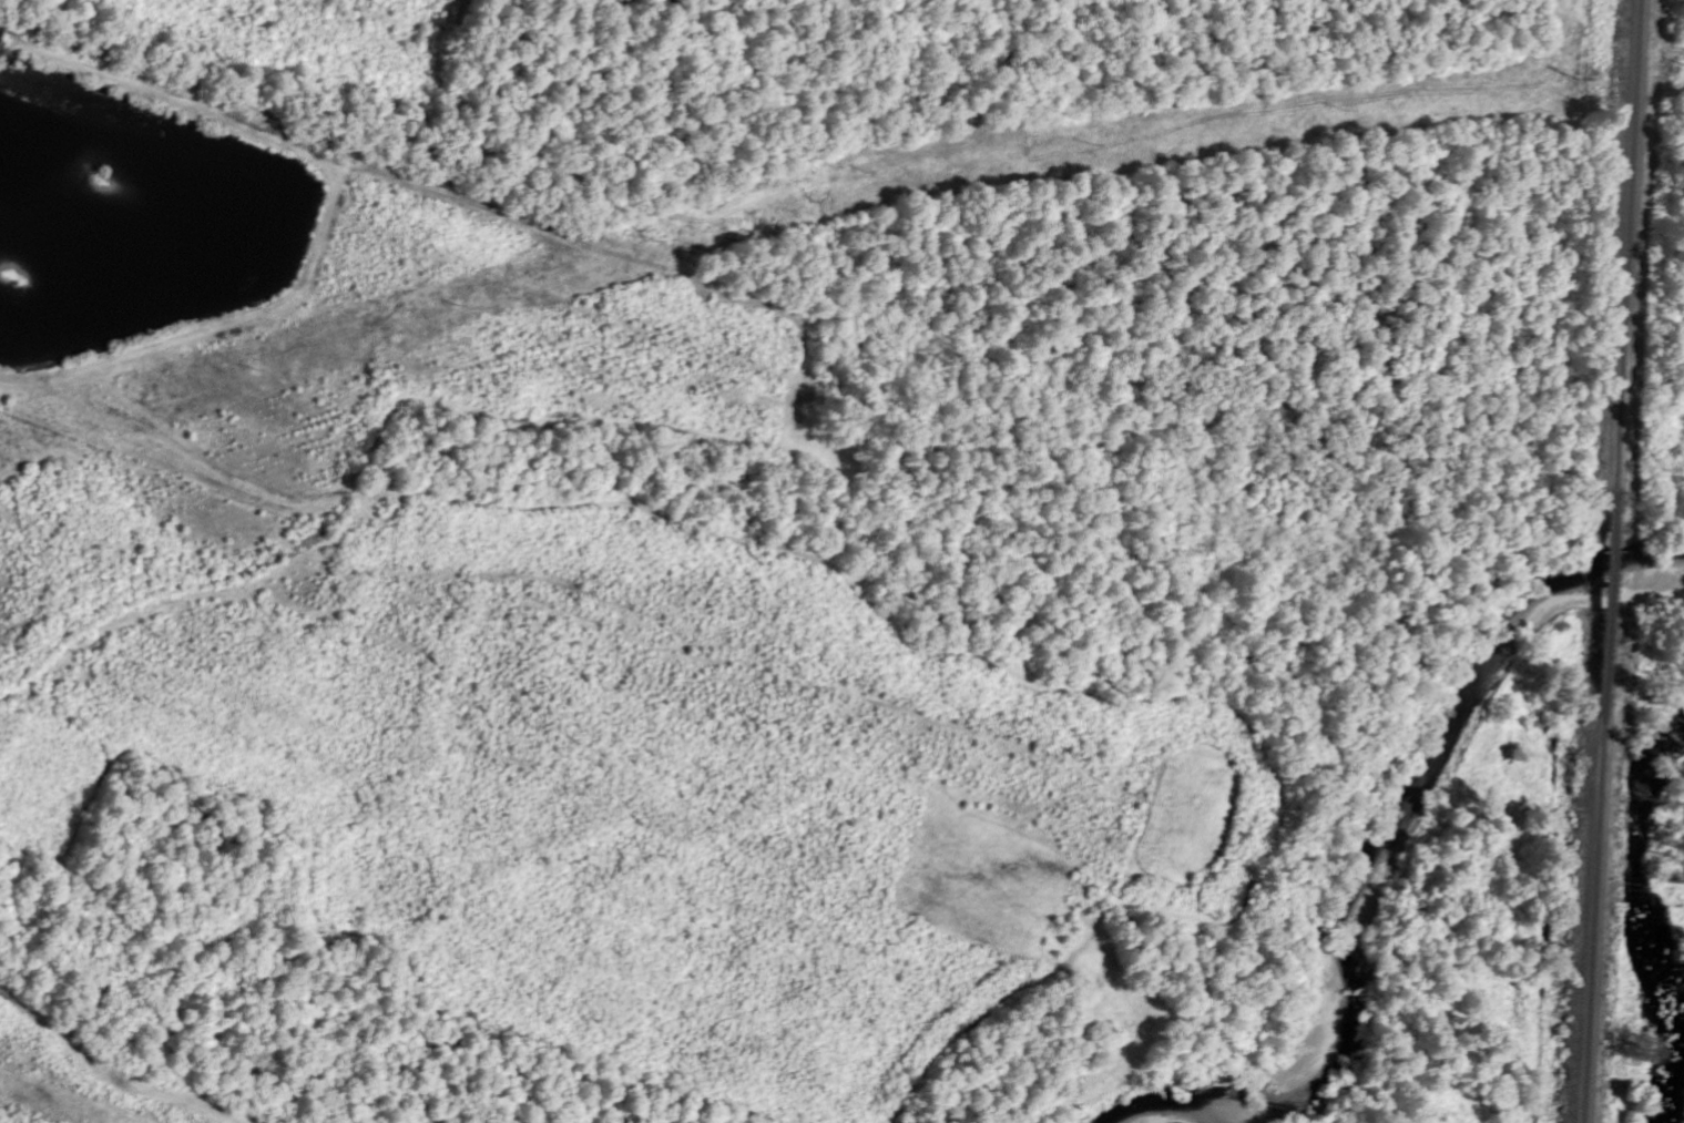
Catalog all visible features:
railway: (1633, 243)
railway: (1615, 602)
railway: (1598, 920)

